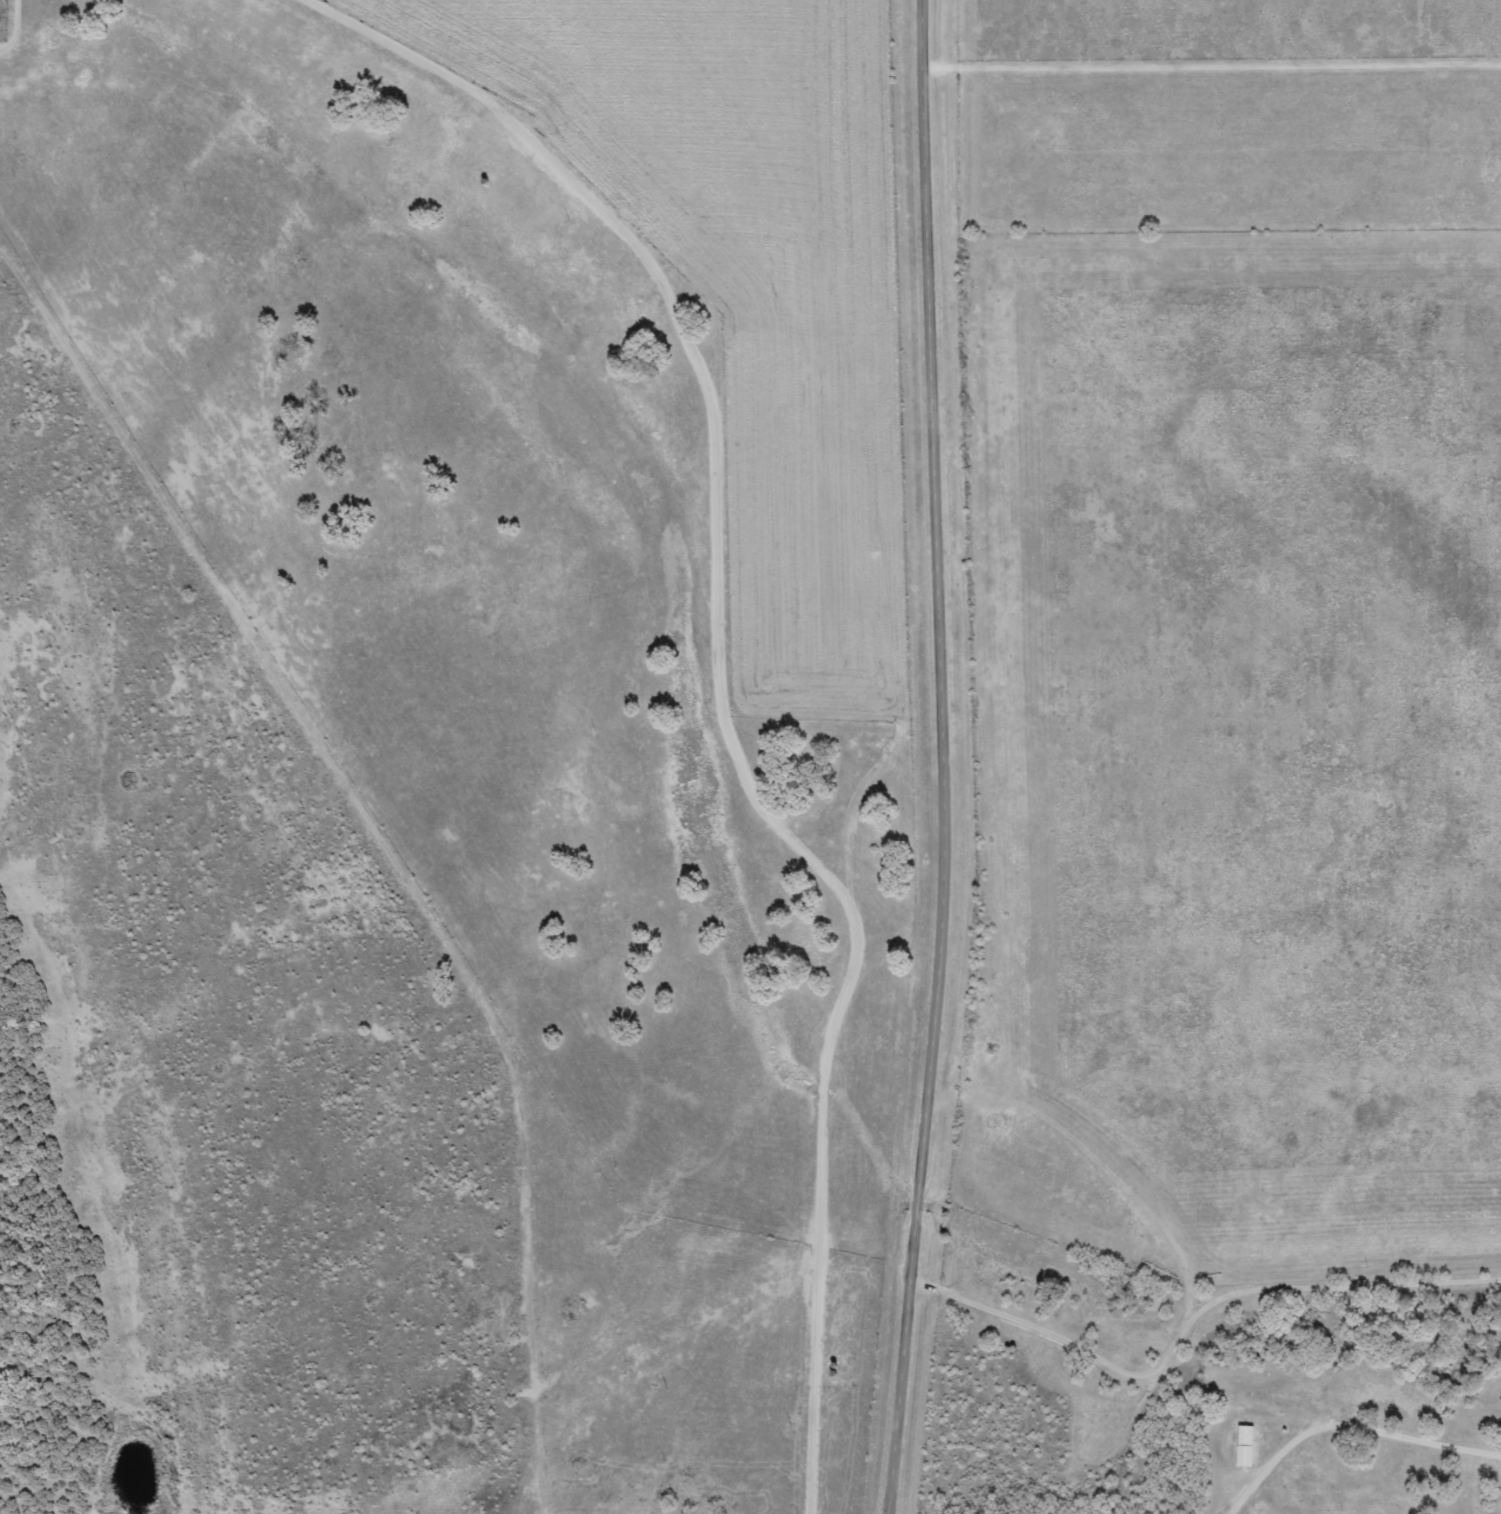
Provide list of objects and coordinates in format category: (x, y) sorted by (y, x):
road: (10, 11)
road: (684, 692)
road: (495, 725)
road: (944, 758)
road: (1277, 1114)
road: (1166, 1329)
road: (997, 1389)
building: (1245, 1447)

